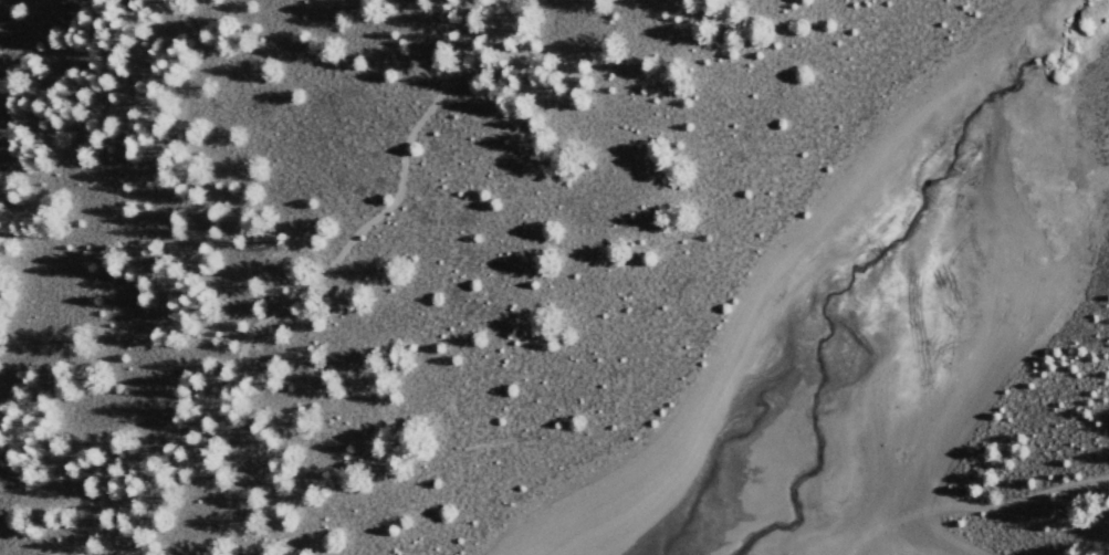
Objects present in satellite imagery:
road: (300, 291)

